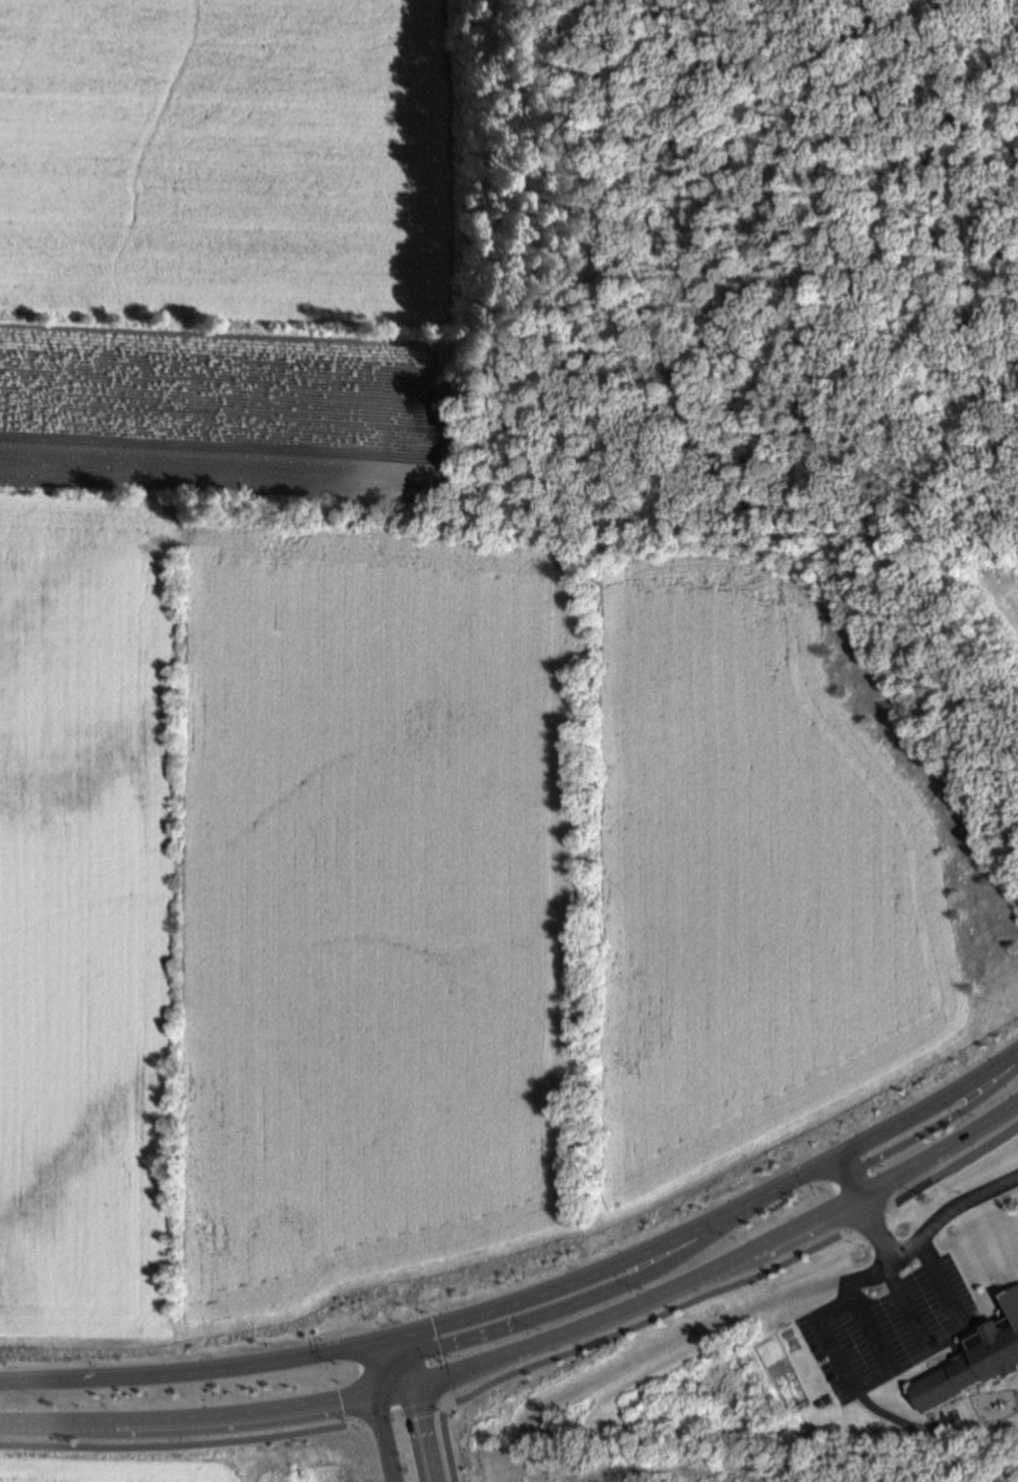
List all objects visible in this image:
crop: (1000, 583)
crop: (383, 745)
road: (929, 1107)
road: (930, 1128)
road: (939, 1150)
road: (956, 1166)
road: (805, 1174)
road: (848, 1176)
road: (889, 1205)
road: (947, 1208)
road: (868, 1218)
road: (871, 1223)
road: (846, 1232)
building: (1014, 1294)
road: (577, 1303)
road: (639, 1303)
road: (515, 1304)
road: (646, 1322)
parking lot: (888, 1331)
road: (942, 1337)
traffic signals: (398, 1339)
road: (404, 1363)
traffic signals: (404, 1363)
building: (974, 1363)
road: (513, 1364)
road: (842, 1369)
road: (121, 1376)
traffic signals: (412, 1388)
traffic signals: (379, 1395)
road: (329, 1404)
road: (445, 1405)
road: (447, 1408)
road: (421, 1410)
road: (396, 1414)
road: (376, 1419)
road: (898, 1420)
road: (353, 1423)
road: (123, 1425)
road: (298, 1433)
road: (422, 1434)
road: (381, 1438)
road: (126, 1447)
road: (447, 1447)
park: (309, 1453)
crop: (121, 1459)
quarry: (700, 1473)

